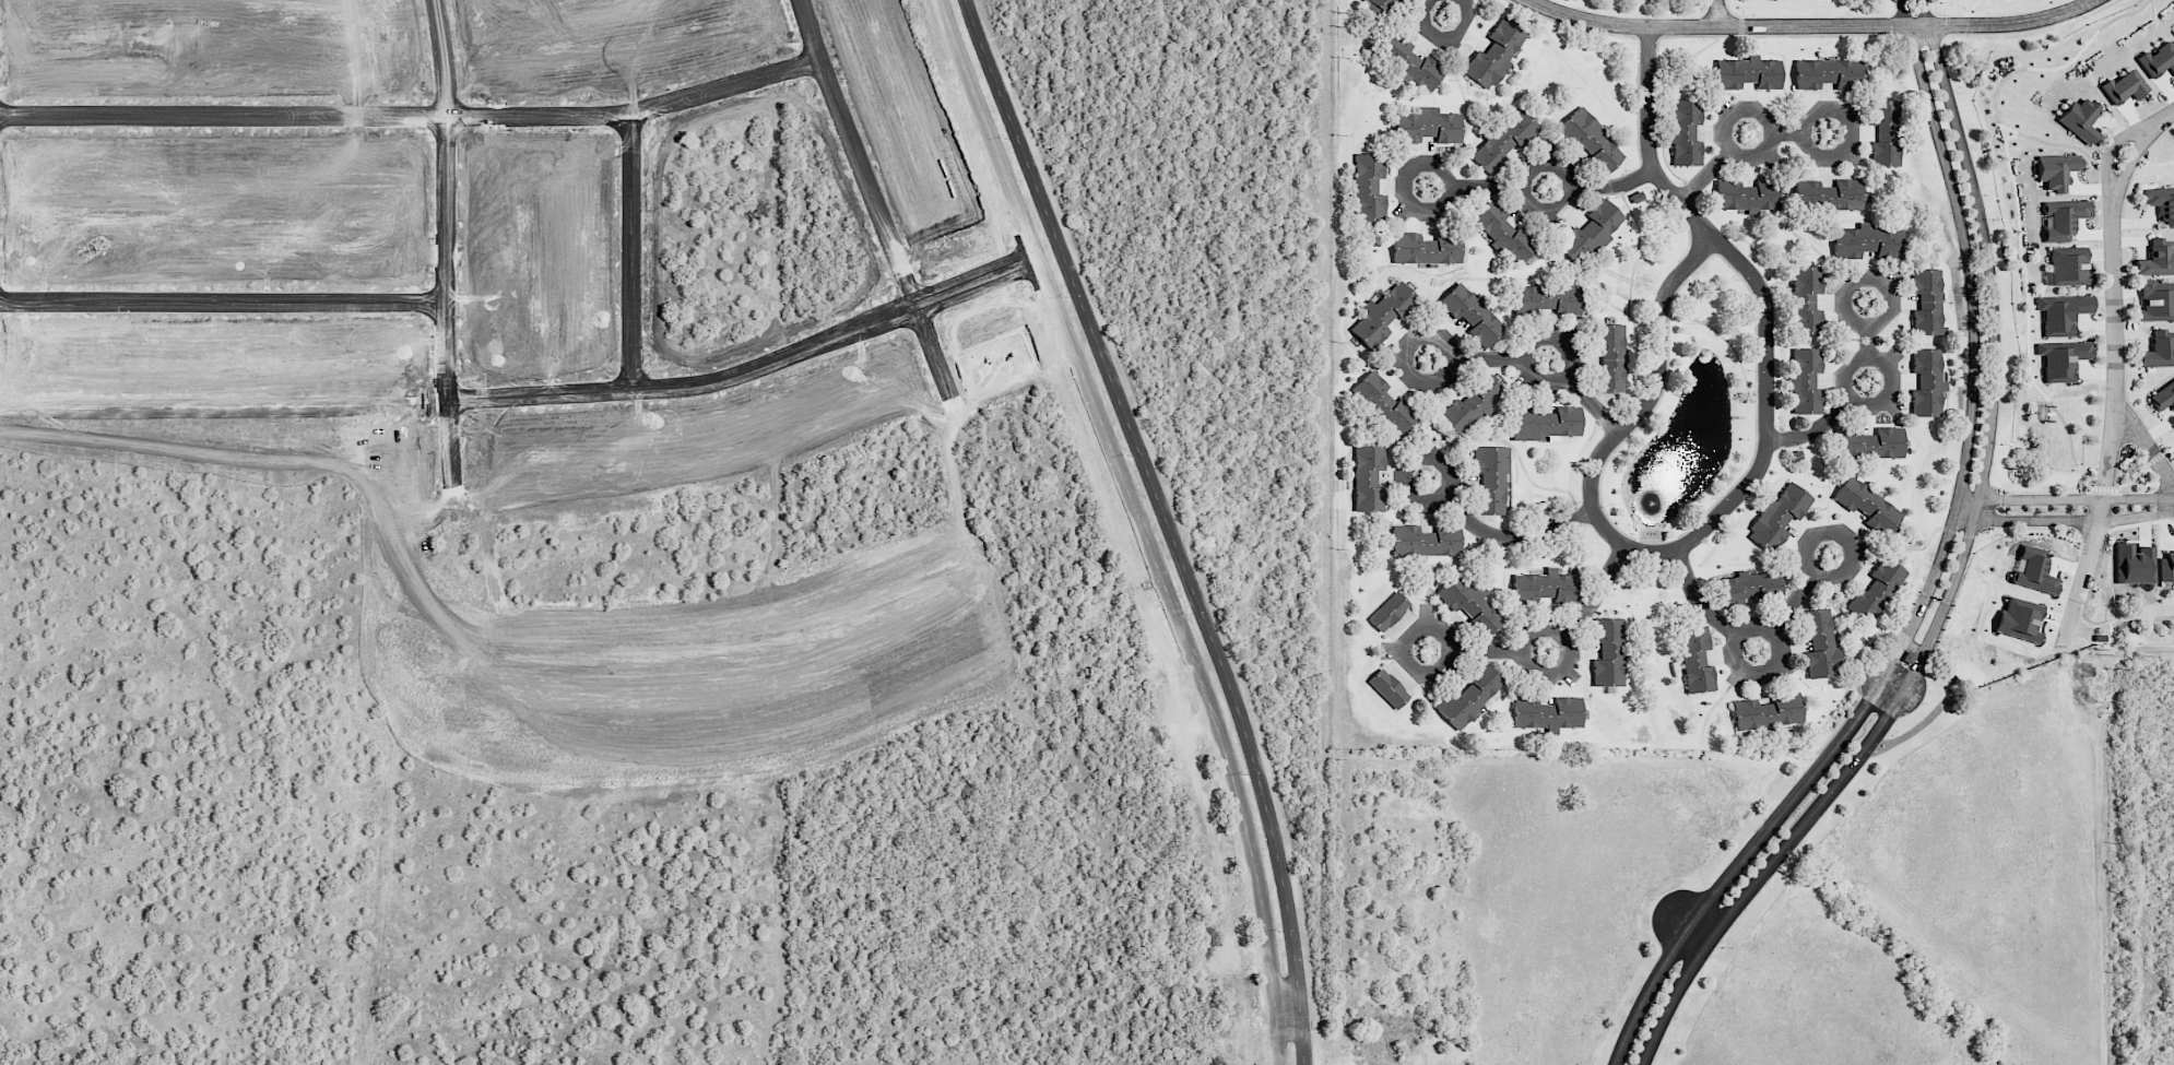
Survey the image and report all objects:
building: (1378, 7)
road: (1715, 13)
road: (1926, 13)
road: (1905, 14)
road: (1812, 26)
road: (1444, 35)
building: (1494, 54)
building: (2158, 59)
building: (1411, 63)
building: (1748, 72)
building: (1829, 73)
building: (2123, 86)
road: (413, 114)
road: (1761, 117)
building: (2080, 117)
road: (2161, 120)
building: (1428, 126)
building: (1686, 131)
road: (1850, 131)
road: (1785, 132)
building: (1887, 133)
building: (1504, 140)
building: (1591, 140)
road: (446, 151)
road: (2110, 151)
road: (2130, 163)
building: (2056, 169)
road: (1705, 175)
road: (1614, 184)
road: (1570, 185)
road: (1449, 186)
road: (1487, 187)
building: (1369, 190)
building: (1830, 193)
building: (1748, 196)
building: (2160, 203)
building: (2064, 216)
building: (1503, 232)
building: (1590, 233)
building: (1868, 241)
building: (1426, 248)
road: (631, 251)
building: (2157, 257)
building: (2068, 264)
road: (1866, 280)
building: (1805, 298)
building: (1549, 299)
building: (2157, 300)
road: (222, 301)
building: (1927, 301)
building: (2059, 312)
building: (1472, 313)
building: (1383, 315)
road: (1869, 341)
road: (1974, 342)
road: (1534, 345)
road: (1996, 347)
building: (2160, 347)
road: (932, 348)
building: (1610, 356)
building: (2064, 357)
road: (1445, 358)
road: (1488, 358)
road: (2117, 358)
road: (1875, 360)
road: (752, 369)
building: (1805, 381)
building: (1927, 382)
building: (2163, 397)
building: (1384, 403)
road: (1592, 403)
building: (1470, 404)
building: (2037, 412)
building: (1545, 422)
road: (1813, 428)
building: (1871, 442)
road: (2157, 457)
road: (1410, 464)
building: (1368, 476)
building: (1490, 477)
road: (1744, 488)
road: (2066, 499)
building: (1867, 505)
building: (1777, 517)
road: (2064, 519)
road: (1143, 523)
road: (1168, 523)
road: (1512, 536)
building: (1426, 541)
road: (1844, 541)
road: (2089, 560)
road: (456, 561)
road: (728, 563)
building: (2134, 564)
building: (2166, 568)
building: (2034, 570)
building: (1545, 587)
building: (1747, 587)
road: (1599, 588)
building: (1876, 590)
building: (1468, 601)
road: (1700, 602)
road: (1792, 602)
building: (1389, 612)
building: (2019, 619)
road: (1570, 632)
road: (1567, 637)
road: (1742, 641)
building: (1821, 646)
road: (1448, 651)
road: (1487, 651)
building: (1608, 651)
building: (1696, 660)
road: (1890, 663)
road: (1910, 677)
road: (1892, 684)
building: (1387, 688)
building: (1469, 695)
building: (1547, 712)
building: (1768, 712)
road: (854, 780)
road: (791, 842)
road: (1737, 864)
road: (1762, 872)
road: (1690, 928)
road: (1289, 1007)

